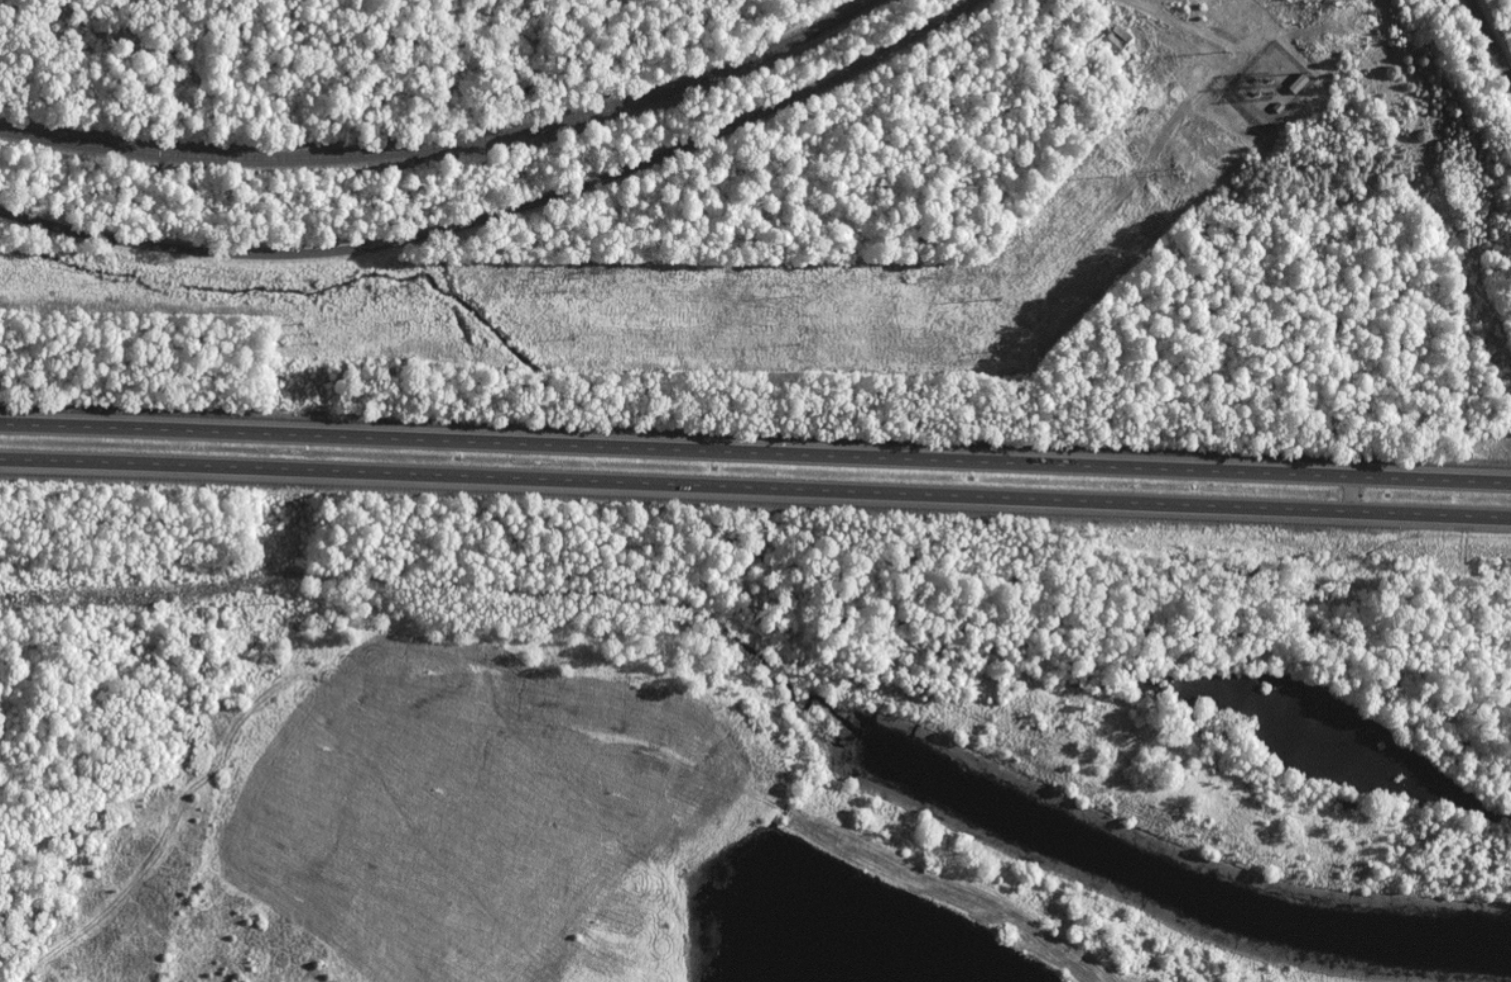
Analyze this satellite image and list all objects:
road: (1490, 39)
power substation: (1270, 90)
railway: (437, 148)
power tower: (1163, 164)
road: (503, 219)
power tower: (312, 337)
power tower: (1010, 351)
road: (755, 452)
road: (755, 488)
road: (1352, 494)
power tower: (266, 603)

